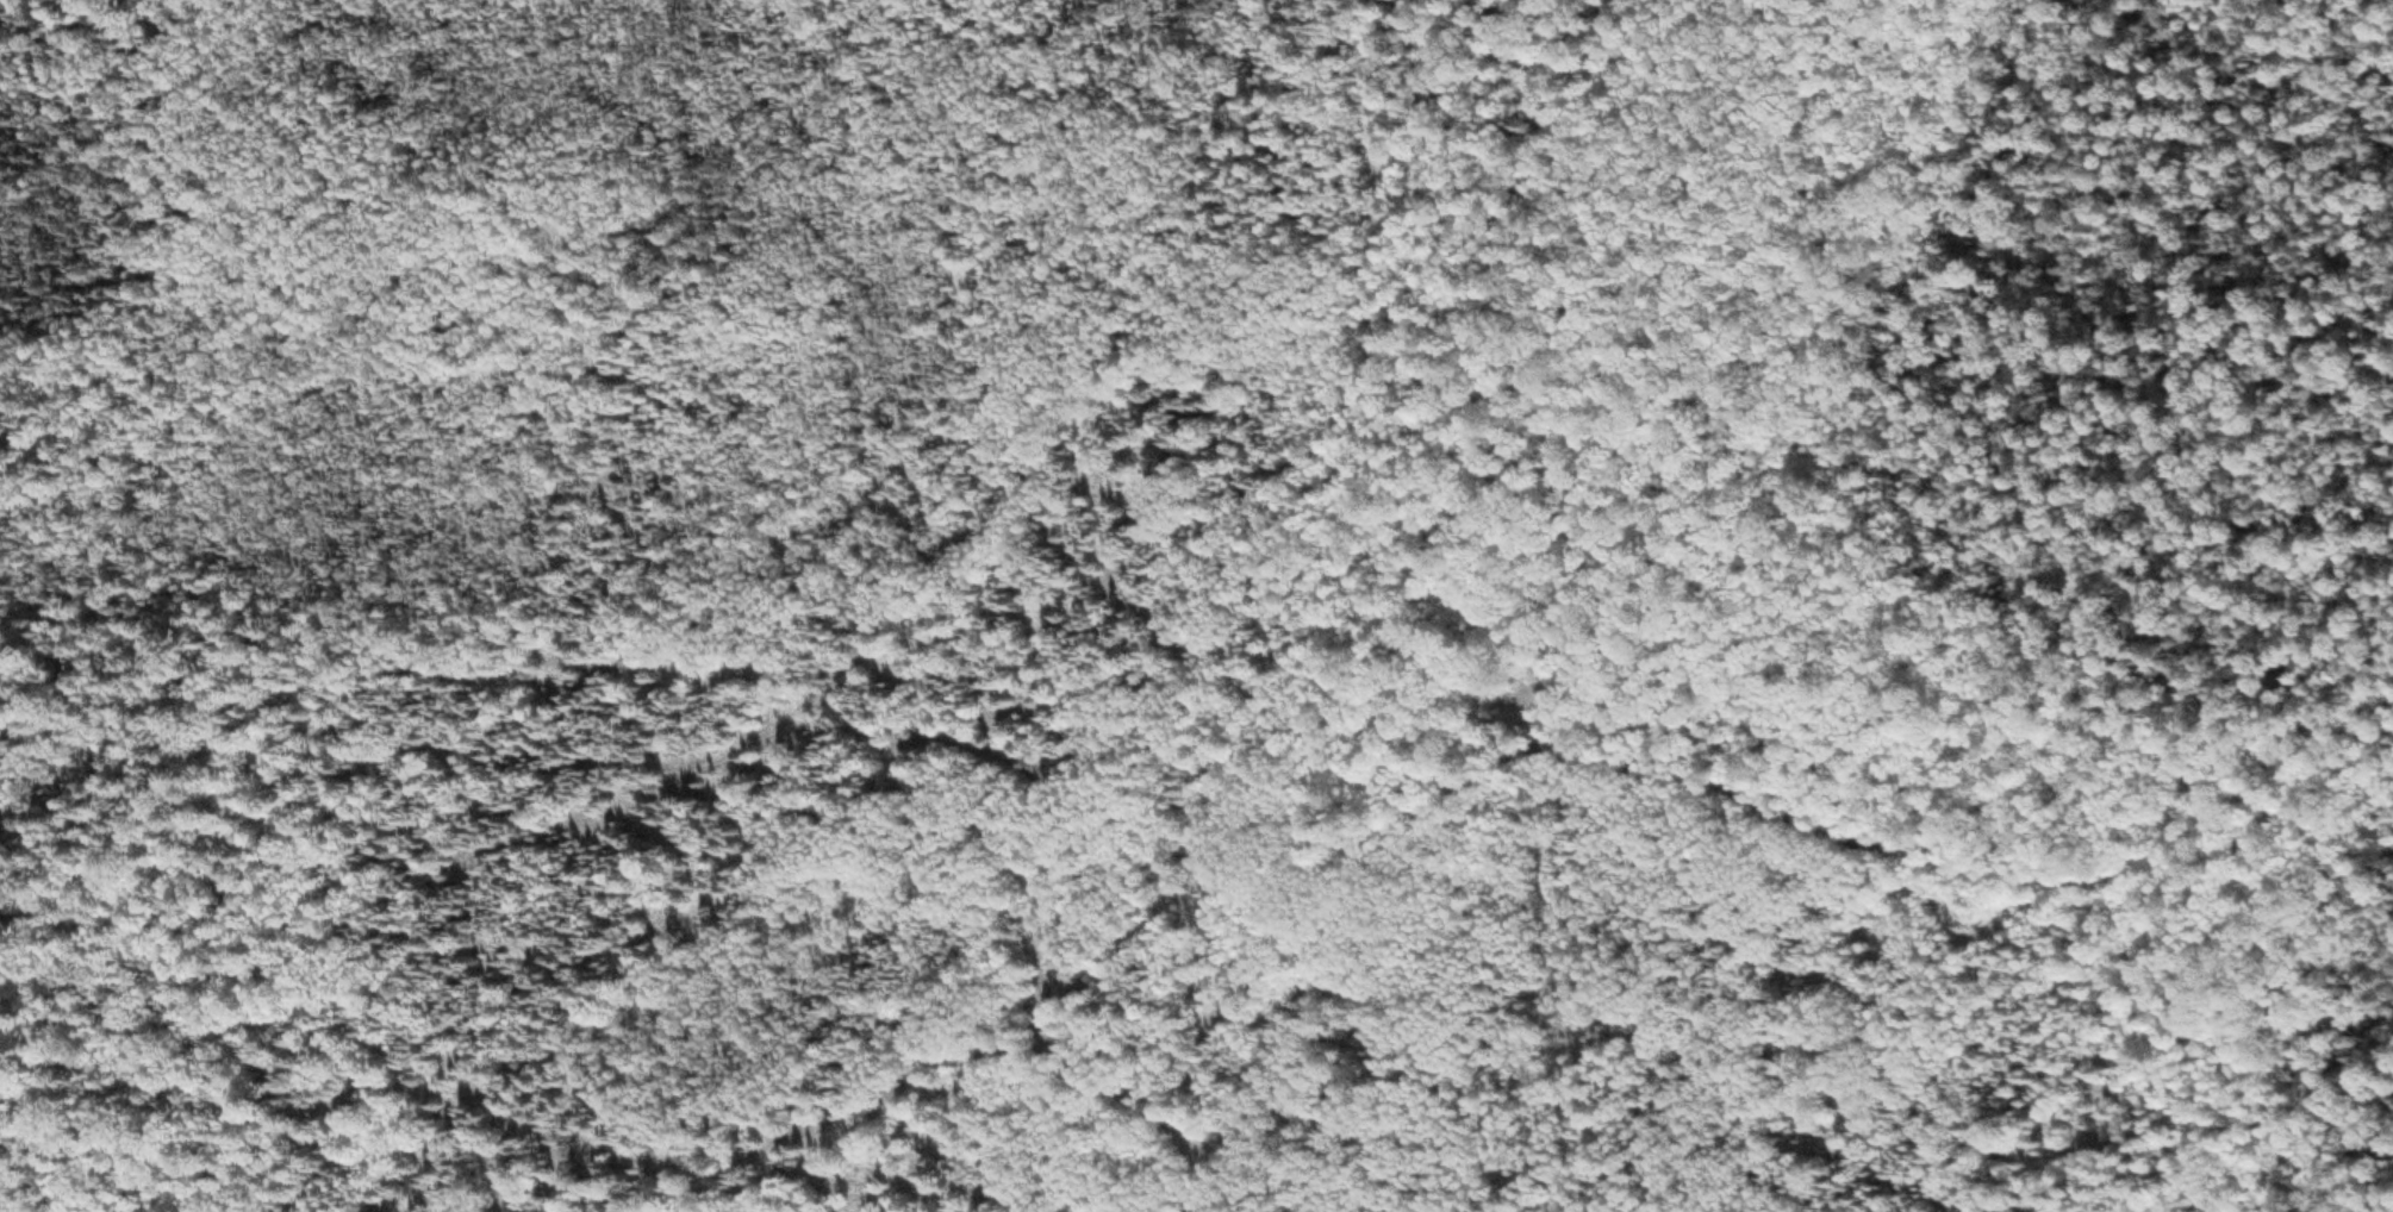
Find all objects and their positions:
road: (1323, 624)
road: (40, 1158)

